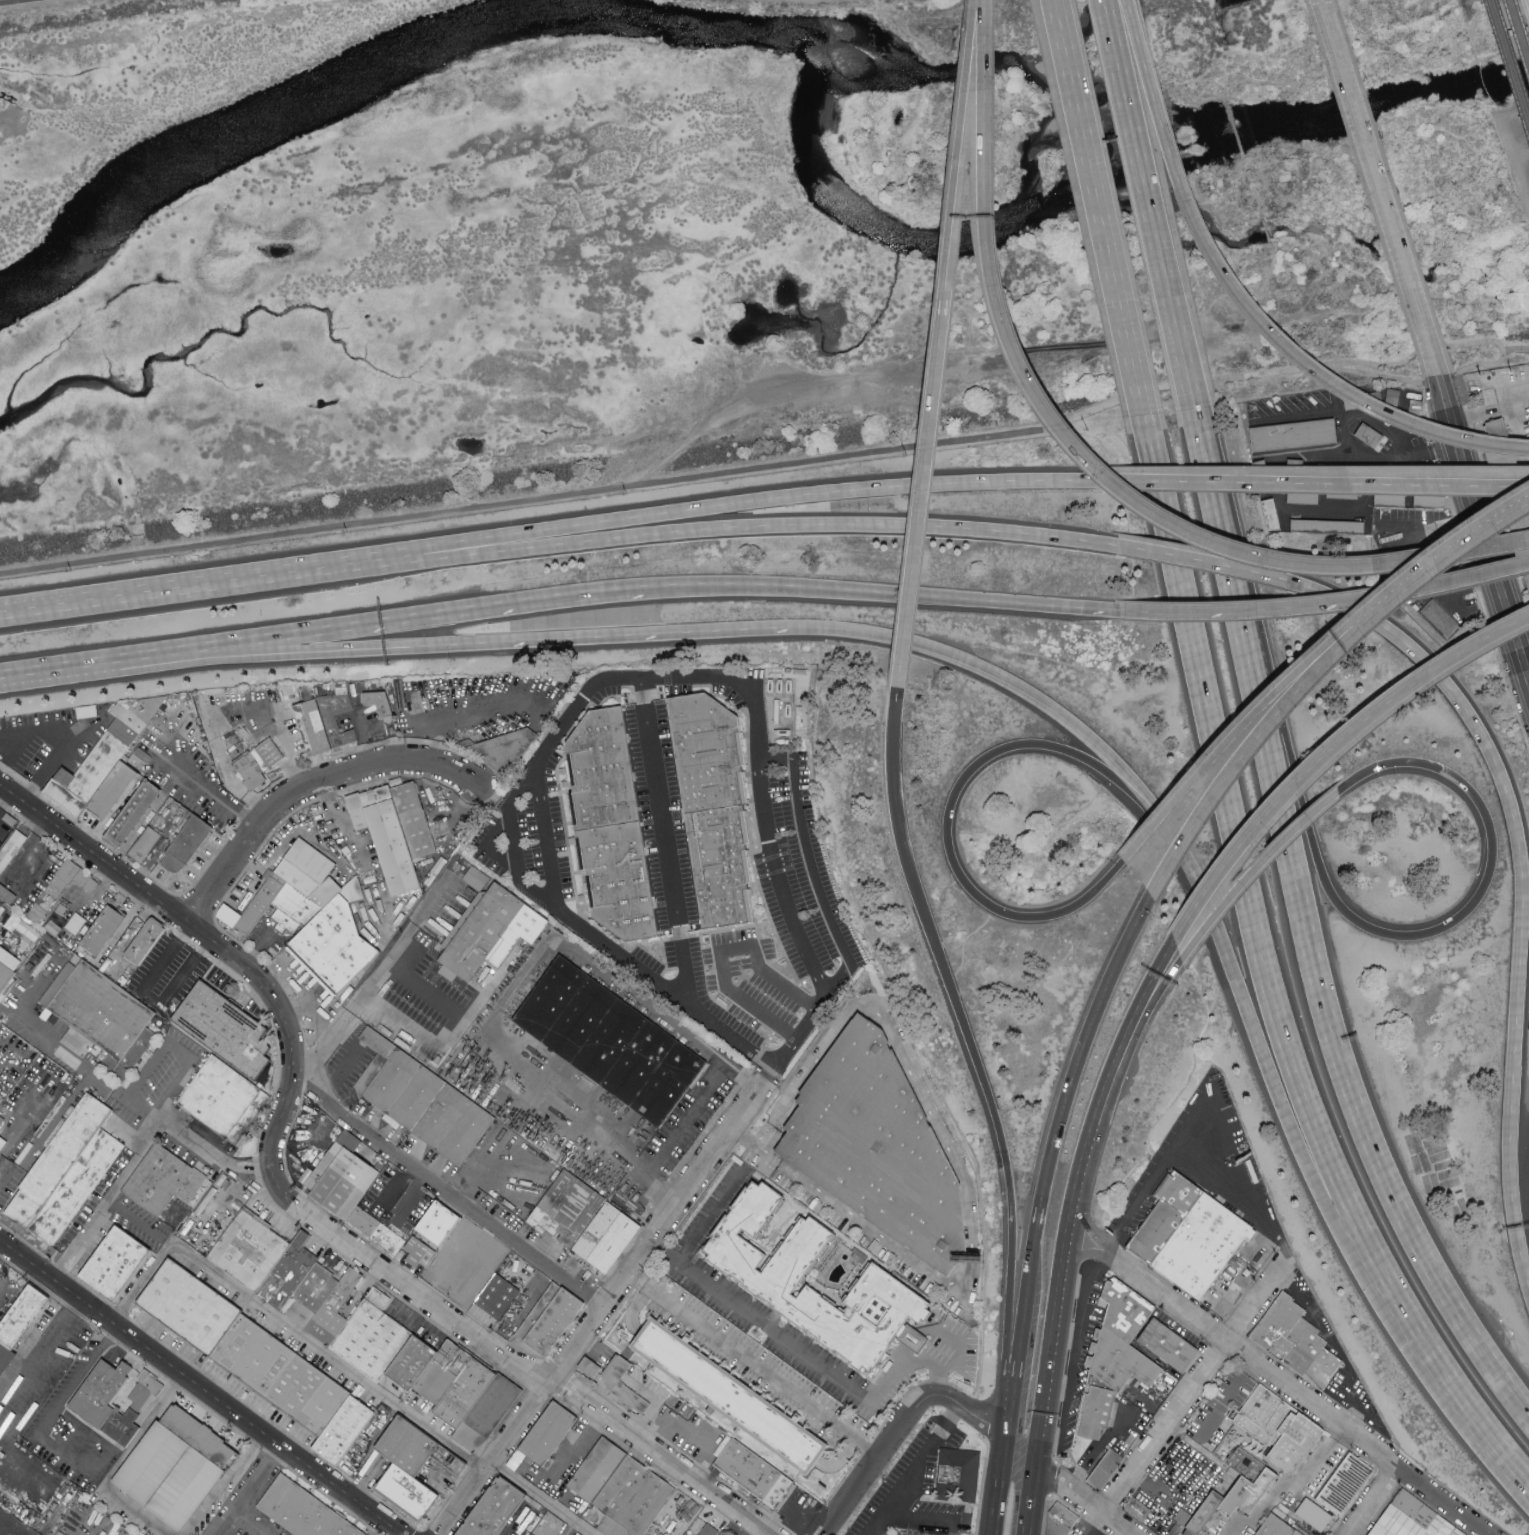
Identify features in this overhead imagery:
road: (5, 0)
railway: (1526, 8)
railway: (1518, 33)
railway: (1508, 64)
river: (815, 66)
road: (960, 113)
road: (1527, 183)
road: (1381, 189)
road: (1151, 206)
road: (1097, 209)
road: (1519, 220)
road: (946, 271)
road: (1244, 301)
road: (1474, 366)
road: (1391, 380)
road: (1491, 412)
building: (1297, 435)
building: (1370, 435)
road: (1348, 443)
road: (1082, 455)
road: (768, 467)
road: (1317, 484)
road: (920, 499)
building: (1272, 512)
road: (632, 517)
road: (1432, 523)
building: (1330, 525)
road: (1484, 525)
road: (640, 535)
road: (1465, 540)
road: (1212, 563)
road: (1440, 584)
road: (900, 595)
road: (81, 601)
road: (1340, 603)
road: (1270, 609)
road: (1168, 612)
building: (1439, 617)
road: (396, 620)
road: (729, 630)
road: (536, 640)
road: (263, 654)
road: (59, 671)
road: (604, 678)
building: (333, 689)
road: (1036, 696)
building: (377, 704)
road: (472, 713)
road: (1256, 715)
building: (332, 722)
building: (314, 726)
road: (363, 731)
road: (1266, 731)
building: (139, 733)
road: (219, 748)
road: (287, 750)
building: (504, 750)
road: (1328, 753)
building: (258, 764)
building: (88, 774)
road: (965, 776)
road: (303, 786)
building: (113, 788)
road: (212, 792)
road: (327, 803)
building: (715, 803)
building: (132, 810)
building: (415, 820)
building: (612, 825)
building: (387, 835)
road: (545, 838)
road: (663, 841)
building: (187, 843)
building: (146, 846)
building: (11, 849)
road: (811, 868)
road: (1254, 871)
building: (313, 883)
building: (13, 890)
building: (54, 892)
road: (1522, 892)
building: (259, 908)
building: (294, 911)
building: (56, 926)
building: (103, 929)
building: (27, 931)
building: (73, 933)
building: (491, 933)
road: (1426, 934)
building: (140, 938)
road: (1301, 938)
building: (335, 946)
road: (256, 949)
building: (87, 952)
building: (119, 967)
building: (5, 974)
road: (376, 978)
road: (1268, 979)
building: (756, 980)
road: (516, 989)
road: (151, 996)
road: (1245, 1003)
road: (295, 1007)
road: (884, 1017)
building: (105, 1021)
road: (448, 1025)
road: (330, 1027)
building: (226, 1029)
building: (611, 1041)
road: (58, 1045)
road: (1123, 1046)
road: (1082, 1048)
road: (318, 1051)
road: (1128, 1056)
road: (974, 1057)
building: (373, 1073)
road: (128, 1094)
building: (220, 1097)
building: (430, 1108)
road: (680, 1124)
road: (1214, 1130)
road: (742, 1138)
road: (757, 1143)
building: (2, 1144)
building: (882, 1147)
building: (58, 1162)
road: (1, 1177)
building: (343, 1178)
building: (164, 1182)
road: (1077, 1188)
building: (79, 1190)
road: (447, 1193)
road: (106, 1197)
road: (409, 1198)
road: (297, 1207)
building: (372, 1207)
building: (568, 1209)
road: (130, 1215)
road: (707, 1216)
building: (1170, 1217)
building: (440, 1223)
road: (1033, 1237)
road: (1087, 1238)
building: (609, 1239)
building: (390, 1242)
building: (1207, 1247)
building: (251, 1251)
building: (418, 1252)
road: (1083, 1257)
road: (913, 1261)
building: (470, 1262)
building: (115, 1263)
building: (290, 1275)
building: (769, 1281)
road: (143, 1283)
building: (350, 1288)
road: (1289, 1288)
road: (534, 1291)
building: (312, 1297)
road: (1025, 1298)
building: (499, 1299)
road: (606, 1300)
building: (190, 1307)
building: (1130, 1310)
road: (1388, 1319)
building: (548, 1323)
building: (19, 1324)
building: (322, 1335)
building: (373, 1339)
road: (1076, 1339)
road: (1052, 1340)
building: (1299, 1344)
building: (1173, 1346)
road: (960, 1347)
road: (329, 1356)
road: (808, 1359)
building: (413, 1364)
road: (751, 1364)
building: (1126, 1364)
building: (588, 1368)
building: (613, 1373)
building: (444, 1374)
building: (282, 1376)
road: (1014, 1384)
road: (1349, 1384)
road: (201, 1387)
road: (1194, 1393)
building: (467, 1394)
building: (734, 1395)
road: (1296, 1396)
building: (629, 1398)
road: (1226, 1400)
road: (160, 1401)
building: (90, 1405)
road: (650, 1409)
building: (1095, 1412)
road: (970, 1414)
building: (489, 1415)
road: (1364, 1416)
building: (1268, 1418)
road: (1362, 1419)
road: (49, 1424)
building: (346, 1432)
building: (549, 1435)
road: (130, 1437)
road: (584, 1438)
building: (403, 1440)
road: (705, 1442)
road: (72, 1443)
building: (1303, 1445)
road: (1102, 1453)
road: (1319, 1454)
road: (874, 1458)
building: (1236, 1462)
building: (1181, 1463)
road: (120, 1465)
building: (175, 1469)
road: (913, 1469)
building: (750, 1470)
building: (1103, 1471)
building: (408, 1472)
building: (599, 1472)
building: (957, 1476)
road: (225, 1483)
road: (997, 1485)
building: (1349, 1486)
road: (248, 1489)
building: (782, 1493)
road: (538, 1499)
road: (1031, 1499)
road: (1081, 1499)
building: (633, 1501)
road: (1374, 1502)
building: (496, 1510)
building: (301, 1511)
building: (1140, 1511)
building: (1210, 1514)
road: (522, 1516)
road: (924, 1517)
parking lot: (16, 1518)
building: (1411, 1519)
building: (1317, 1520)
road: (1, 1522)
building: (1183, 1523)
road: (1094, 1524)
road: (13, 1525)
road: (244, 1525)
road: (1234, 1526)
building: (552, 1527)
building: (1280, 1527)
building: (707, 1531)
building: (729, 1532)
road: (875, 1532)
building: (579, 1533)
building: (723, 1533)
building: (685, 1534)

